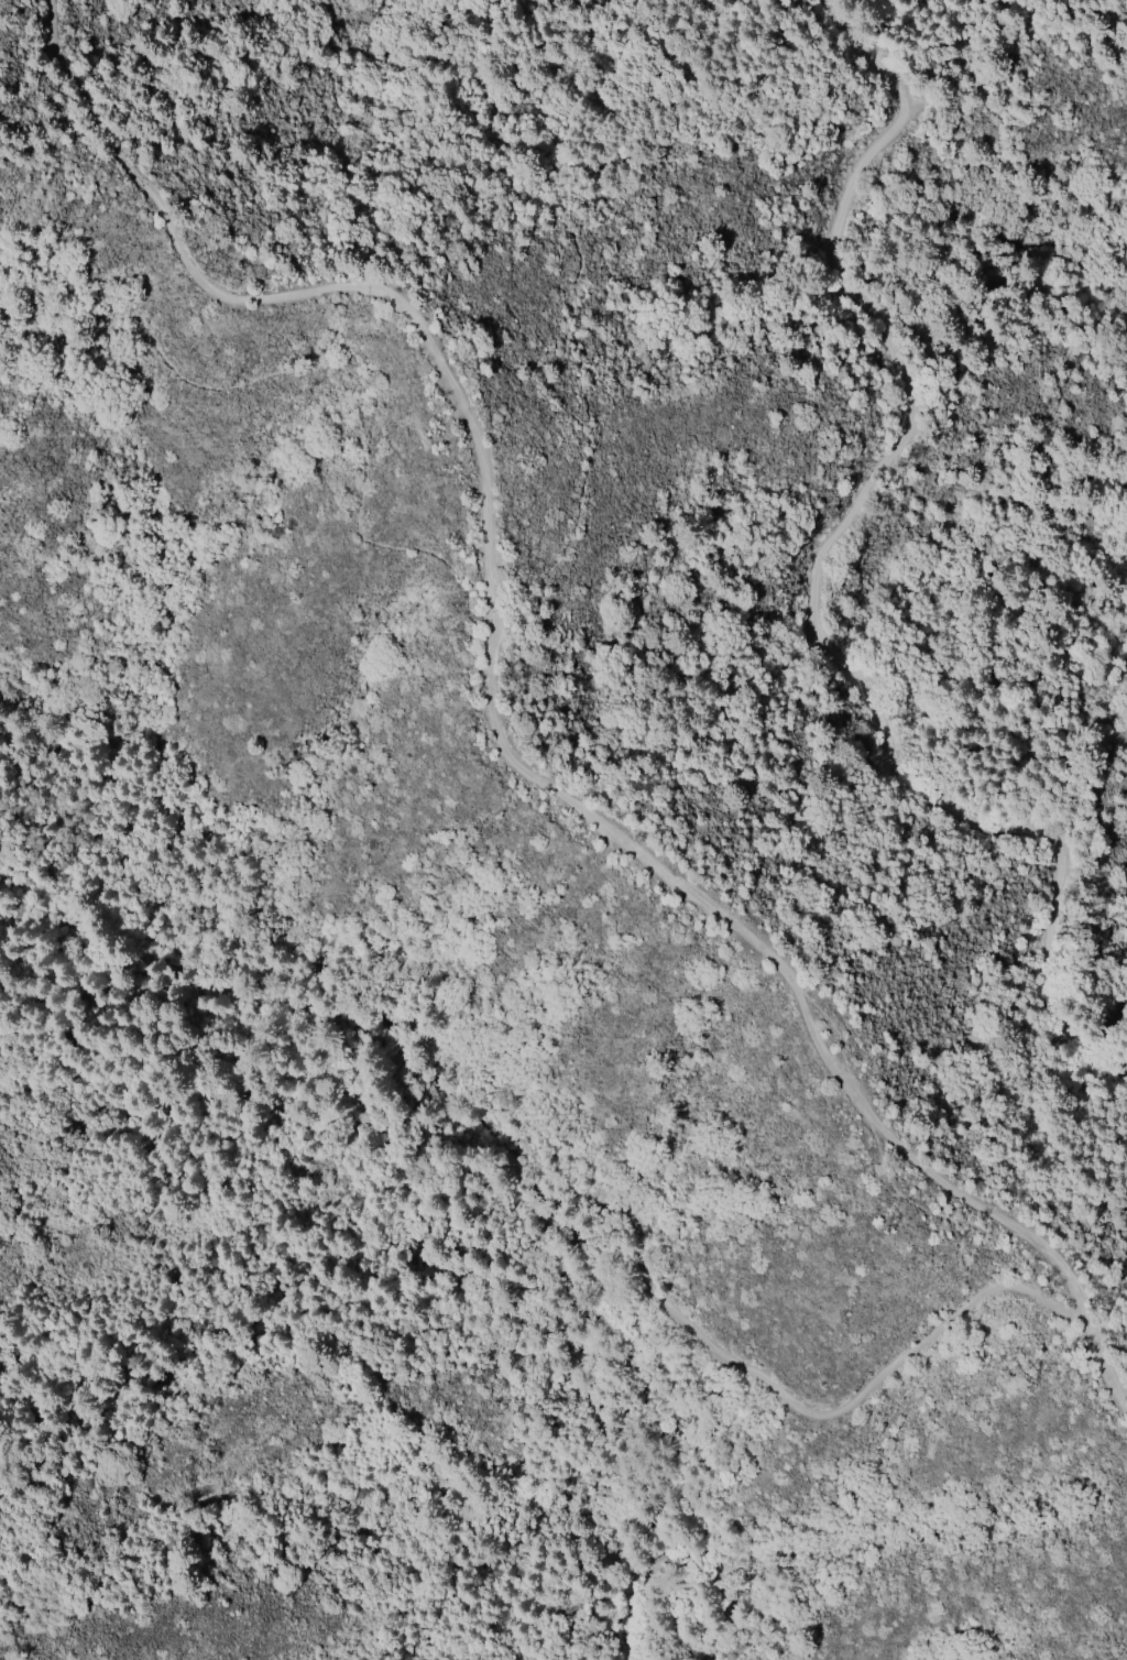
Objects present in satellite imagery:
road: (819, 565)
road: (513, 597)
road: (499, 712)
road: (321, 997)
road: (648, 1290)
road: (678, 1580)

